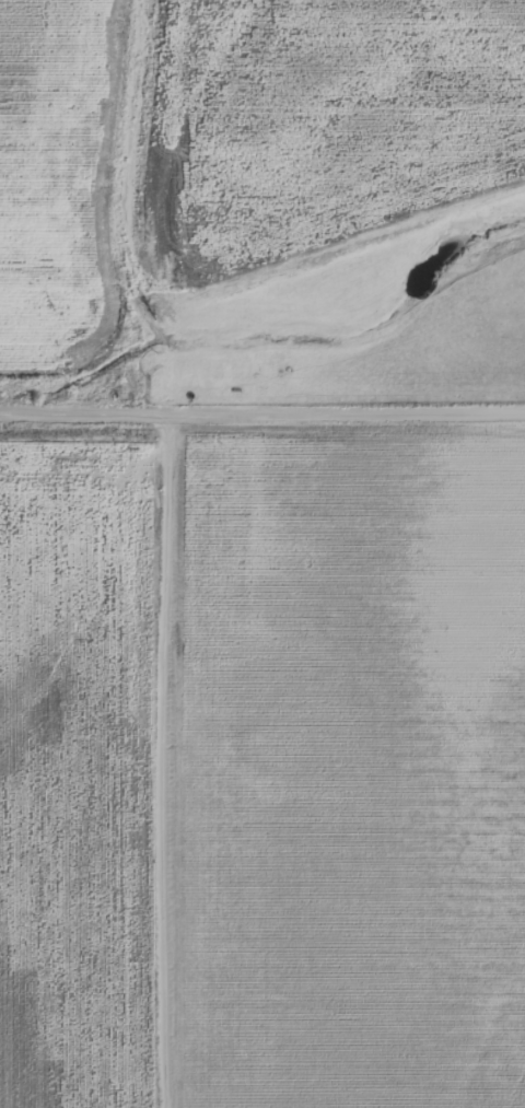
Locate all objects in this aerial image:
road: (261, 415)

